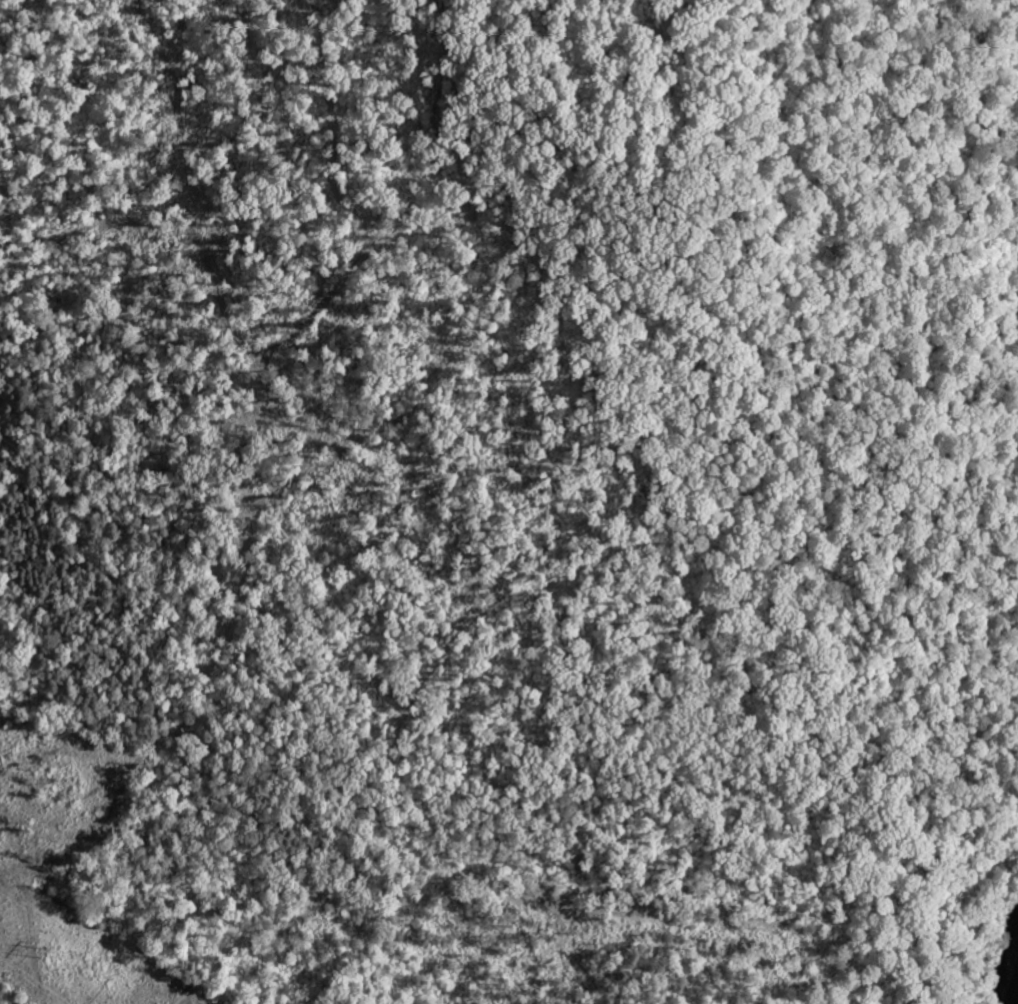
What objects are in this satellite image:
power tower: (65, 945)

